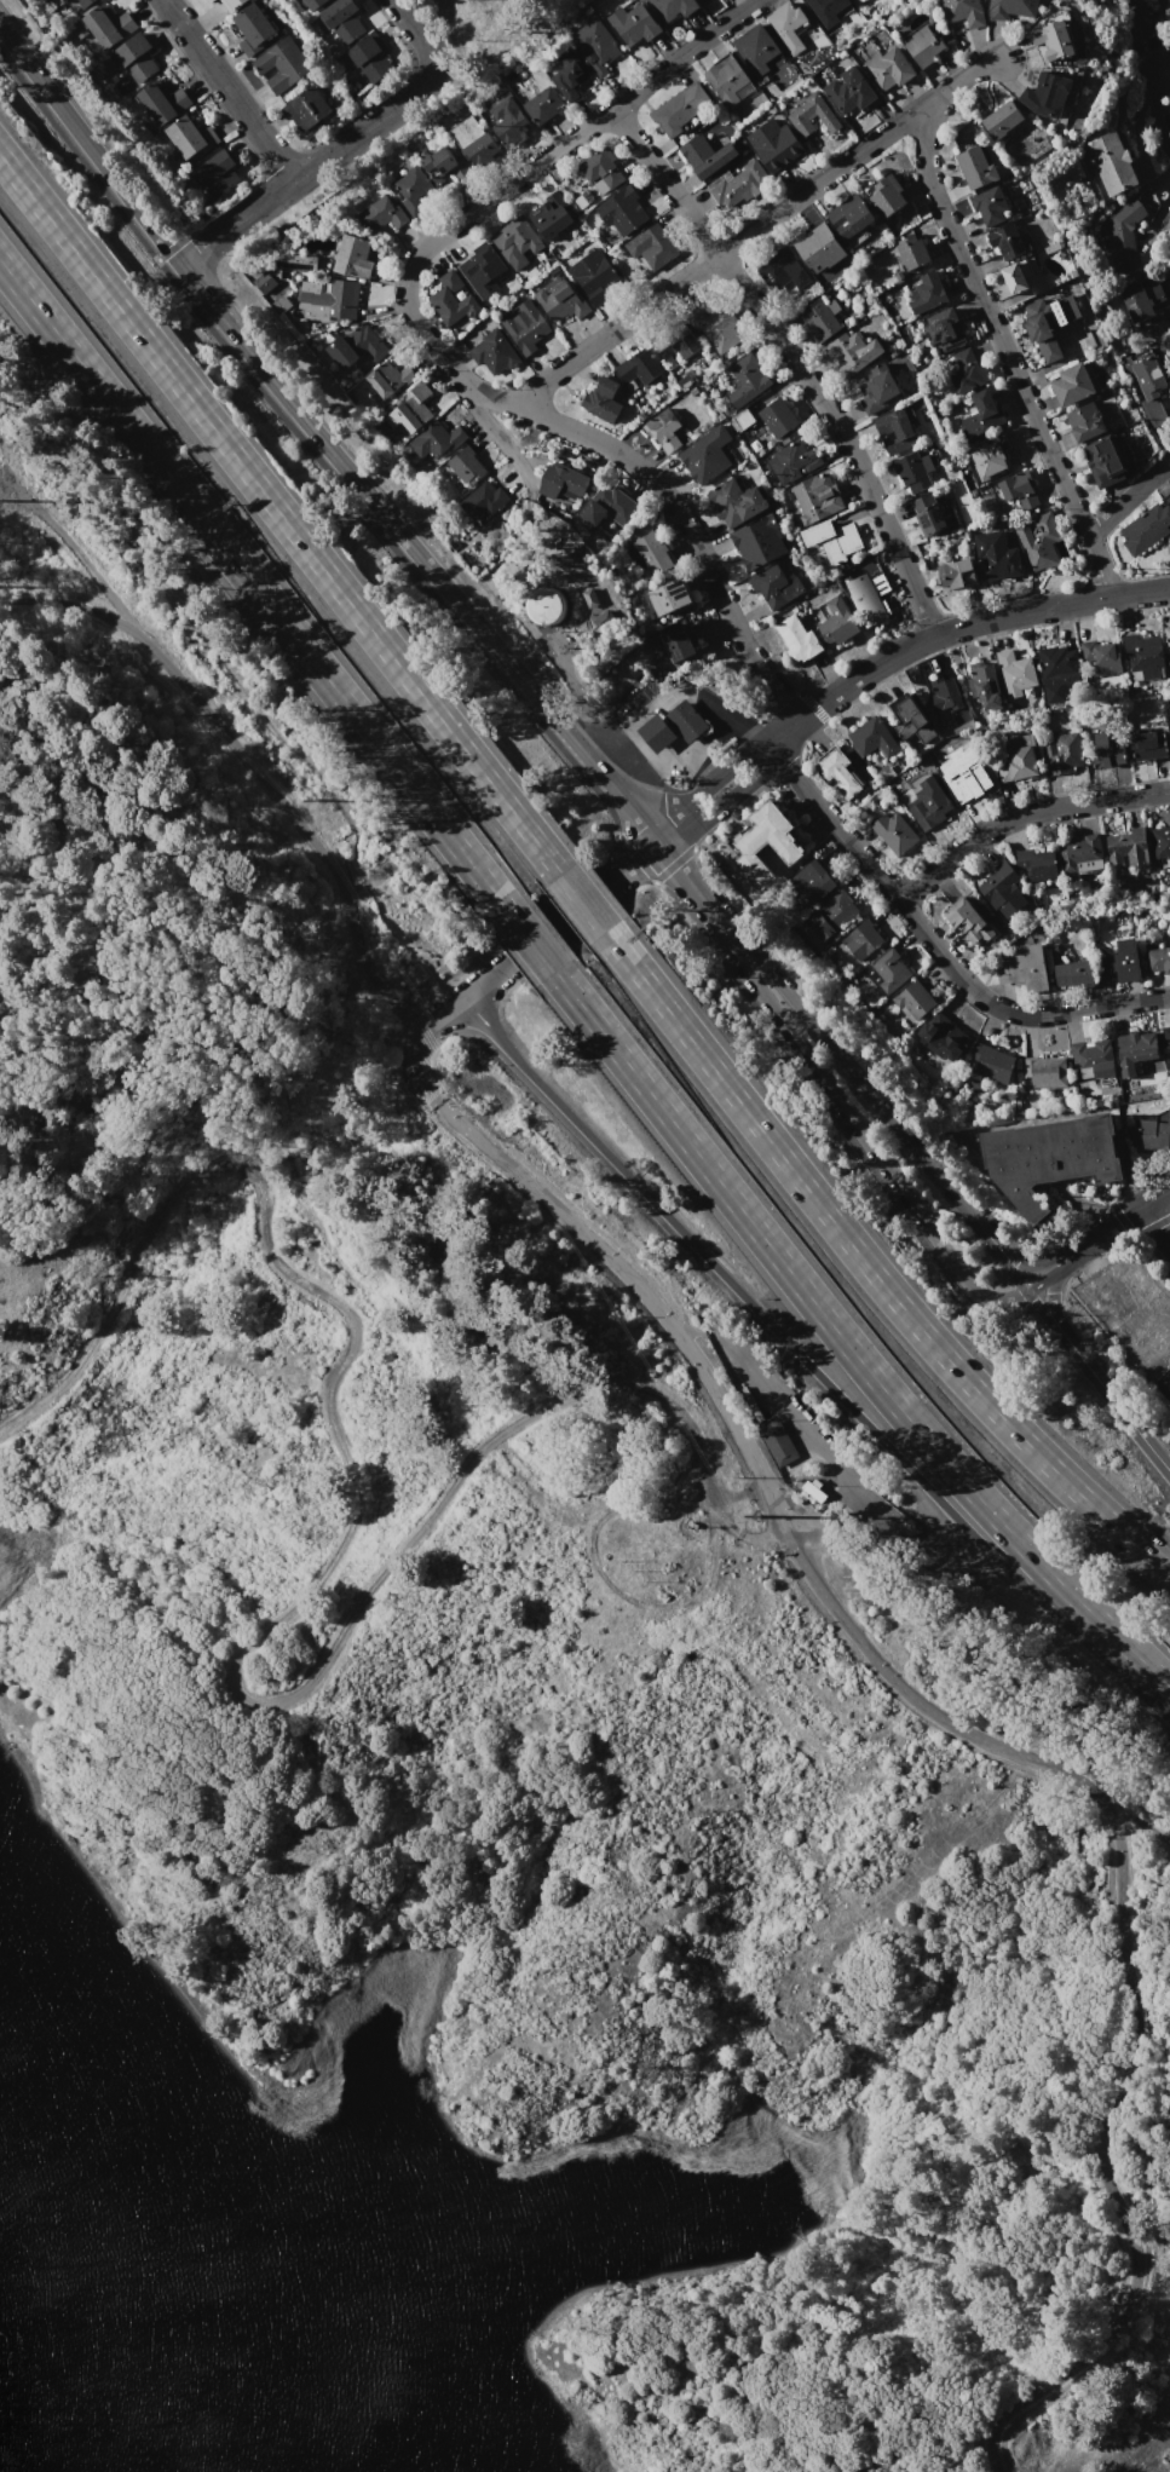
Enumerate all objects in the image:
building: (209, 1)
building: (859, 1)
building: (81, 4)
building: (313, 4)
building: (234, 5)
building: (674, 8)
building: (1009, 8)
building: (826, 10)
building: (964, 11)
building: (1145, 16)
building: (341, 21)
building: (635, 24)
building: (108, 27)
building: (789, 27)
building: (253, 29)
building: (1053, 41)
building: (595, 45)
building: (924, 45)
building: (756, 50)
building: (1079, 57)
building: (136, 58)
building: (370, 58)
building: (282, 64)
building: (888, 69)
building: (567, 74)
building: (726, 80)
road: (225, 90)
building: (849, 91)
building: (1047, 94)
building: (162, 103)
building: (543, 104)
building: (309, 108)
building: (682, 109)
road: (1154, 110)
building: (813, 115)
building: (1002, 119)
building: (509, 121)
building: (465, 131)
building: (185, 136)
building: (211, 136)
road: (338, 144)
building: (409, 144)
building: (774, 144)
building: (480, 150)
building: (705, 155)
building: (1113, 162)
building: (444, 166)
building: (601, 167)
building: (975, 167)
building: (217, 173)
building: (739, 184)
building: (411, 190)
building: (554, 196)
building: (887, 196)
building: (580, 202)
building: (990, 204)
building: (622, 211)
building: (381, 214)
building: (851, 215)
building: (549, 218)
road: (751, 227)
building: (1124, 234)
building: (515, 241)
building: (1007, 242)
building: (651, 246)
building: (1051, 247)
building: (818, 248)
building: (911, 253)
building: (353, 257)
building: (296, 261)
building: (777, 266)
building: (482, 269)
building: (554, 271)
building: (281, 275)
building: (592, 275)
building: (1015, 278)
building: (264, 282)
building: (928, 293)
building: (328, 299)
building: (451, 299)
building: (282, 300)
building: (1139, 300)
building: (560, 301)
building: (819, 318)
building: (1049, 323)
building: (525, 327)
building: (715, 327)
building: (944, 330)
building: (674, 339)
building: (367, 342)
road: (999, 346)
building: (342, 352)
road: (437, 352)
building: (494, 352)
building: (852, 352)
road: (790, 359)
building: (639, 368)
building: (966, 371)
building: (388, 378)
building: (745, 379)
building: (1073, 384)
building: (878, 388)
building: (1149, 392)
building: (601, 399)
building: (419, 401)
building: (981, 414)
building: (403, 417)
building: (778, 417)
road: (482, 419)
building: (740, 420)
building: (1084, 422)
building: (663, 430)
building: (894, 431)
building: (437, 439)
road: (319, 440)
building: (705, 455)
building: (793, 460)
road: (1166, 460)
building: (989, 461)
building: (1105, 461)
building: (467, 466)
building: (913, 472)
building: (566, 478)
building: (1020, 490)
building: (817, 496)
road: (1125, 496)
building: (484, 500)
building: (733, 501)
building: (609, 506)
road: (279, 514)
building: (932, 520)
building: (1147, 528)
building: (832, 538)
building: (1038, 540)
building: (759, 542)
building: (651, 549)
building: (1002, 563)
building: (957, 572)
building: (774, 586)
road: (254, 587)
building: (869, 595)
building: (670, 597)
building: (594, 598)
building: (549, 605)
water tower: (546, 610)
road: (90, 611)
building: (837, 623)
road: (952, 629)
building: (797, 639)
building: (1168, 639)
building: (681, 641)
building: (1101, 657)
building: (1143, 657)
building: (1056, 670)
building: (1014, 673)
road: (678, 685)
building: (984, 685)
building: (944, 693)
road: (248, 698)
building: (686, 720)
building: (910, 721)
building: (656, 732)
gas station: (656, 732)
road: (753, 734)
building: (870, 737)
building: (1148, 741)
road: (231, 743)
building: (1106, 751)
building: (1061, 754)
building: (1020, 759)
building: (835, 772)
building: (968, 780)
road: (703, 785)
power tower: (315, 800)
building: (929, 803)
road: (721, 806)
road: (1020, 817)
building: (894, 832)
building: (1160, 841)
building: (767, 842)
building: (1128, 847)
building: (1080, 854)
building: (1037, 864)
road: (684, 870)
building: (812, 880)
building: (1002, 889)
road: (582, 901)
building: (830, 915)
road: (559, 920)
building: (970, 921)
building: (861, 939)
road: (530, 941)
road: (935, 949)
building: (1157, 957)
building: (1120, 962)
building: (1024, 967)
building: (888, 970)
building: (1072, 974)
building: (912, 1002)
road: (442, 1013)
building: (941, 1037)
building: (1165, 1037)
building: (1134, 1049)
building: (1094, 1060)
building: (991, 1062)
building: (1044, 1071)
road: (869, 1096)
road: (854, 1122)
building: (1151, 1131)
building: (1049, 1158)
road: (1157, 1220)
road: (1096, 1235)
road: (869, 1268)
road: (1054, 1308)
road: (1049, 1318)
road: (845, 1343)
road: (808, 1365)
building: (1166, 1378)
road: (1120, 1408)
road: (799, 1419)
building: (777, 1441)
road: (877, 1510)
power tower: (756, 1515)
road: (310, 1597)
road: (961, 1724)
road: (1142, 1823)

